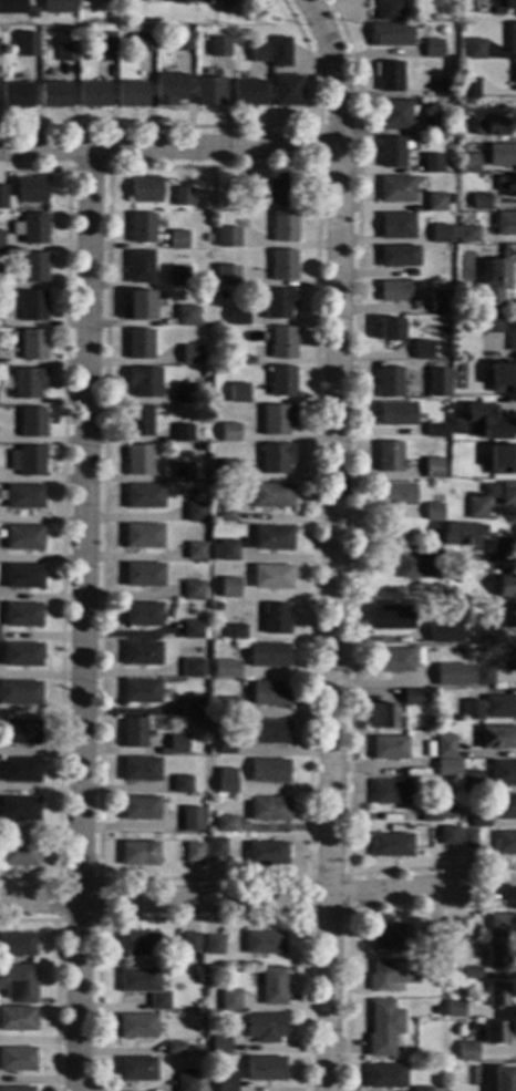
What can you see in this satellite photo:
building: (180, 1)
building: (509, 4)
building: (12, 7)
building: (58, 7)
building: (155, 7)
building: (34, 8)
building: (241, 8)
building: (386, 10)
building: (496, 11)
building: (272, 27)
building: (391, 35)
building: (71, 38)
building: (512, 38)
building: (182, 42)
building: (143, 43)
building: (27, 47)
building: (104, 47)
building: (219, 47)
building: (433, 49)
building: (473, 50)
building: (66, 52)
building: (259, 52)
building: (280, 56)
building: (198, 72)
building: (389, 76)
building: (515, 76)
building: (444, 88)
building: (468, 88)
building: (169, 89)
building: (286, 91)
building: (209, 92)
building: (247, 93)
building: (132, 94)
building: (17, 95)
building: (54, 95)
building: (93, 95)
building: (454, 104)
building: (394, 115)
road: (225, 126)
building: (437, 126)
building: (491, 126)
road: (169, 147)
building: (391, 153)
building: (502, 155)
building: (432, 164)
building: (468, 164)
road: (317, 166)
road: (106, 167)
building: (506, 185)
building: (396, 189)
building: (31, 191)
building: (146, 191)
building: (281, 191)
building: (183, 196)
building: (248, 198)
building: (6, 199)
building: (436, 202)
building: (481, 202)
building: (466, 206)
building: (505, 224)
building: (396, 226)
building: (283, 227)
building: (142, 228)
building: (32, 229)
building: (440, 234)
building: (468, 234)
building: (228, 237)
building: (208, 238)
building: (1, 240)
building: (178, 240)
building: (398, 257)
building: (283, 266)
building: (32, 267)
building: (141, 267)
building: (413, 274)
building: (226, 275)
building: (496, 276)
building: (180, 277)
building: (249, 280)
building: (398, 291)
building: (437, 301)
building: (278, 303)
building: (458, 305)
building: (141, 306)
building: (33, 307)
building: (178, 316)
building: (238, 317)
building: (460, 319)
building: (488, 325)
building: (390, 329)
building: (512, 333)
building: (282, 342)
building: (30, 344)
building: (140, 344)
building: (422, 350)
building: (443, 353)
building: (190, 354)
building: (248, 360)
building: (165, 361)
building: (438, 373)
building: (503, 378)
building: (281, 381)
building: (145, 382)
building: (28, 383)
building: (389, 383)
building: (9, 392)
building: (184, 393)
building: (238, 393)
building: (395, 414)
building: (277, 420)
building: (140, 421)
building: (32, 422)
building: (482, 423)
building: (434, 431)
building: (229, 432)
building: (183, 433)
building: (388, 456)
building: (275, 459)
building: (138, 460)
building: (502, 461)
building: (28, 462)
building: (432, 467)
building: (229, 470)
building: (183, 472)
building: (394, 494)
building: (507, 494)
building: (271, 495)
building: (24, 497)
building: (145, 497)
building: (477, 510)
building: (227, 512)
building: (434, 512)
building: (195, 513)
building: (215, 516)
road: (62, 519)
road: (352, 519)
building: (461, 534)
building: (144, 536)
building: (24, 538)
building: (271, 538)
road: (333, 542)
building: (196, 552)
building: (225, 552)
building: (406, 566)
building: (144, 575)
building: (474, 575)
building: (23, 577)
building: (272, 577)
building: (506, 587)
building: (229, 588)
building: (193, 590)
building: (441, 596)
building: (453, 596)
building: (217, 606)
building: (143, 615)
building: (22, 616)
building: (508, 617)
building: (393, 618)
building: (479, 618)
road: (83, 619)
building: (275, 619)
building: (194, 630)
building: (444, 630)
building: (236, 632)
building: (482, 635)
building: (143, 653)
building: (22, 655)
building: (268, 656)
building: (392, 660)
building: (508, 660)
building: (193, 668)
building: (228, 671)
building: (445, 676)
building: (483, 677)
building: (142, 691)
building: (431, 692)
building: (20, 693)
building: (270, 693)
building: (413, 697)
building: (225, 706)
building: (193, 707)
building: (499, 708)
building: (472, 710)
building: (380, 716)
building: (197, 721)
building: (438, 727)
building: (21, 732)
building: (135, 732)
building: (269, 732)
building: (497, 738)
building: (178, 745)
building: (226, 747)
building: (445, 747)
building: (389, 748)
building: (448, 768)
building: (141, 769)
building: (21, 771)
building: (269, 771)
building: (503, 773)
building: (227, 781)
building: (471, 783)
building: (182, 785)
building: (391, 792)
building: (505, 807)
building: (20, 809)
building: (141, 809)
building: (269, 809)
building: (429, 813)
building: (193, 819)
building: (478, 821)
building: (225, 824)
building: (448, 835)
building: (468, 838)
building: (505, 843)
building: (391, 845)
building: (217, 847)
building: (195, 853)
building: (267, 853)
building: (20, 854)
building: (140, 854)
road: (307, 876)
road: (258, 899)
road: (306, 917)
road: (203, 918)
road: (347, 918)
road: (97, 919)
building: (502, 926)
building: (457, 929)
building: (434, 933)
building: (391, 936)
building: (190, 941)
building: (265, 943)
building: (18, 945)
building: (138, 945)
building: (214, 945)
building: (497, 956)
building: (392, 974)
building: (472, 974)
road: (55, 977)
building: (18, 982)
building: (274, 986)
building: (145, 987)
building: (463, 987)
building: (499, 996)
building: (230, 1000)
building: (455, 1009)
building: (18, 1019)
building: (137, 1027)
building: (266, 1028)
building: (383, 1028)
building: (496, 1032)
building: (220, 1046)
building: (175, 1048)
building: (193, 1049)
building: (468, 1051)
building: (17, 1060)
building: (137, 1069)
building: (265, 1069)
building: (462, 1072)
building: (386, 1077)
building: (504, 1079)
building: (227, 1082)
building: (187, 1083)
building: (17, 1089)
building: (421, 1089)

